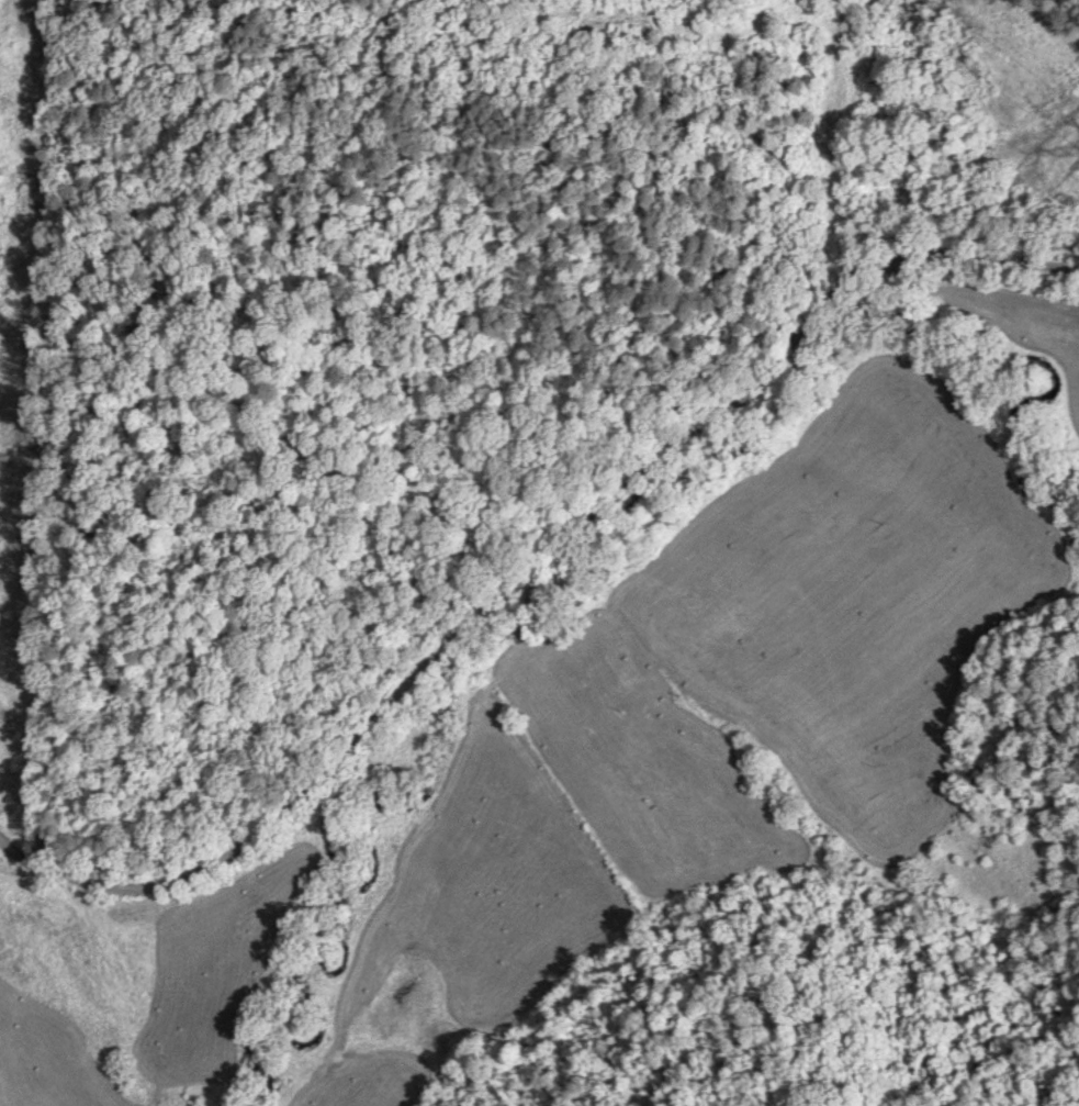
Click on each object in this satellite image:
power tower: (8, 458)
road: (547, 604)

